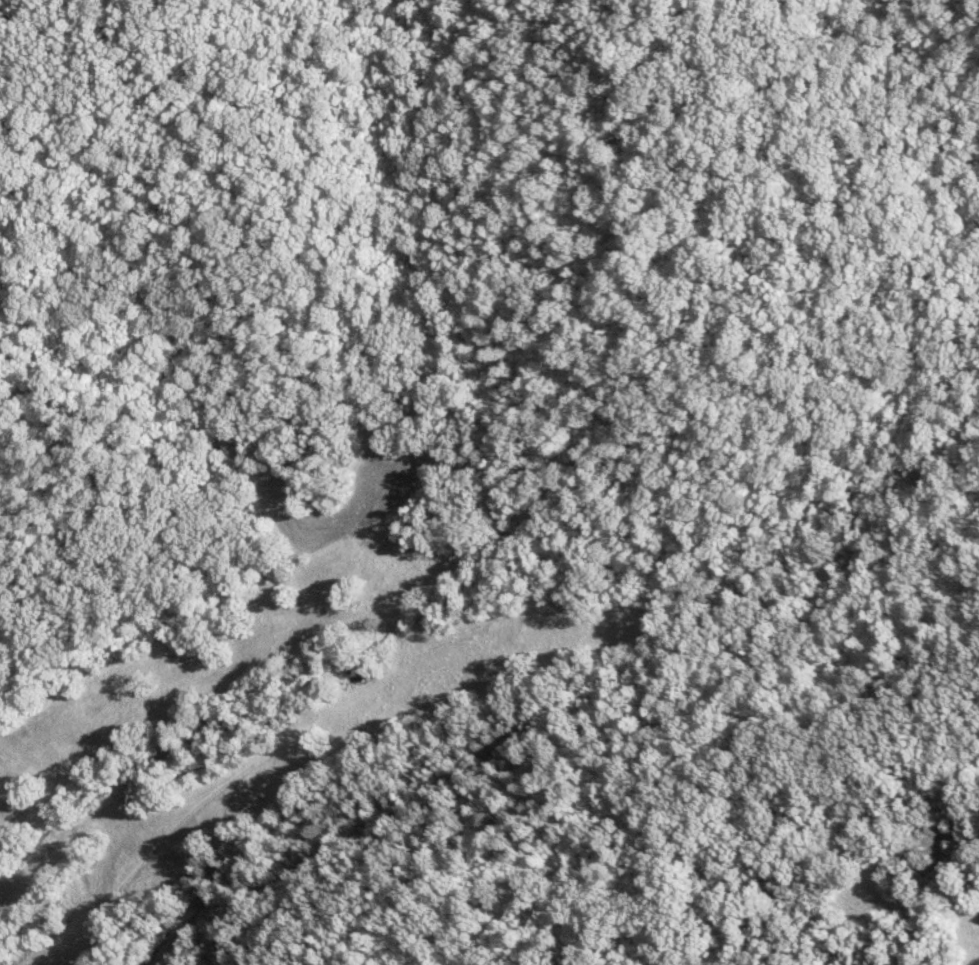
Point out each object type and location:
road: (184, 935)

